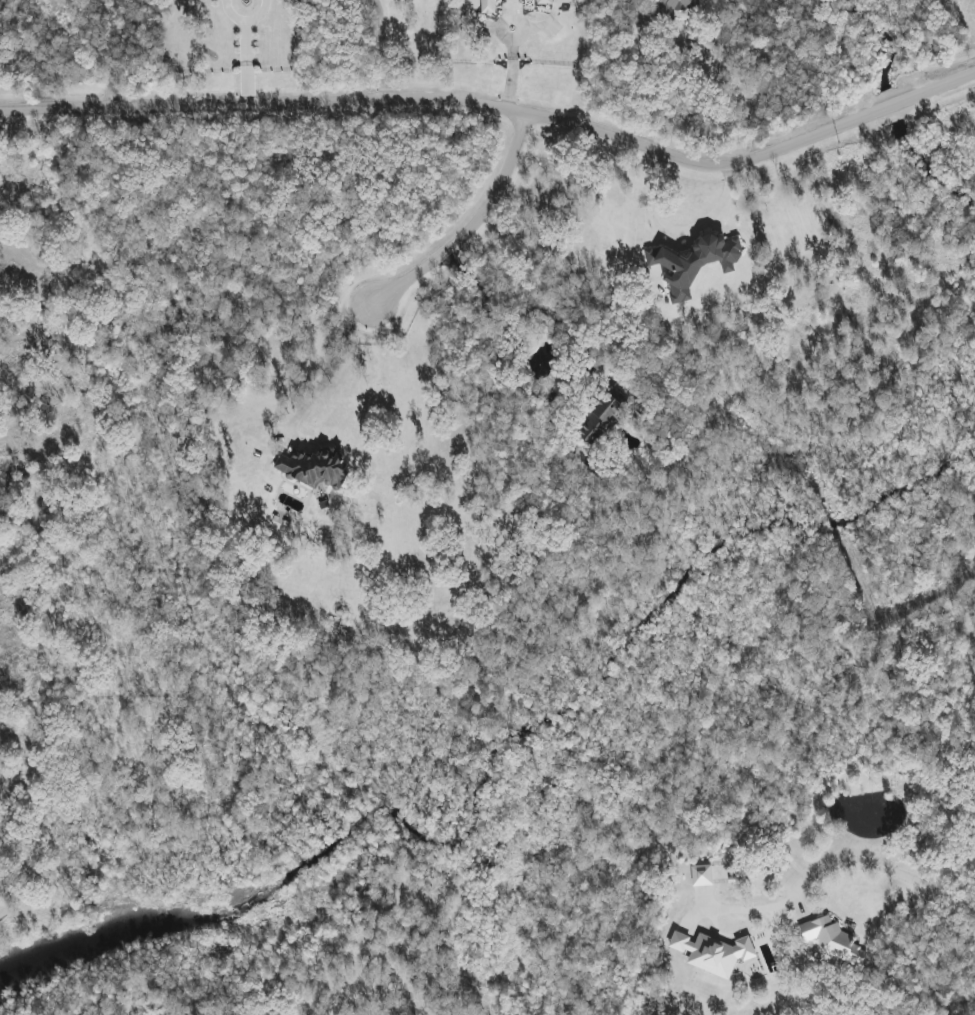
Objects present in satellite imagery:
building: (550, 1)
building: (679, 5)
building: (488, 6)
road: (699, 41)
road: (379, 48)
road: (243, 52)
road: (511, 58)
road: (499, 109)
road: (468, 226)
road: (673, 228)
building: (694, 262)
road: (328, 368)
building: (600, 419)
building: (313, 467)
road: (889, 872)
building: (703, 876)
building: (832, 940)
building: (713, 952)

